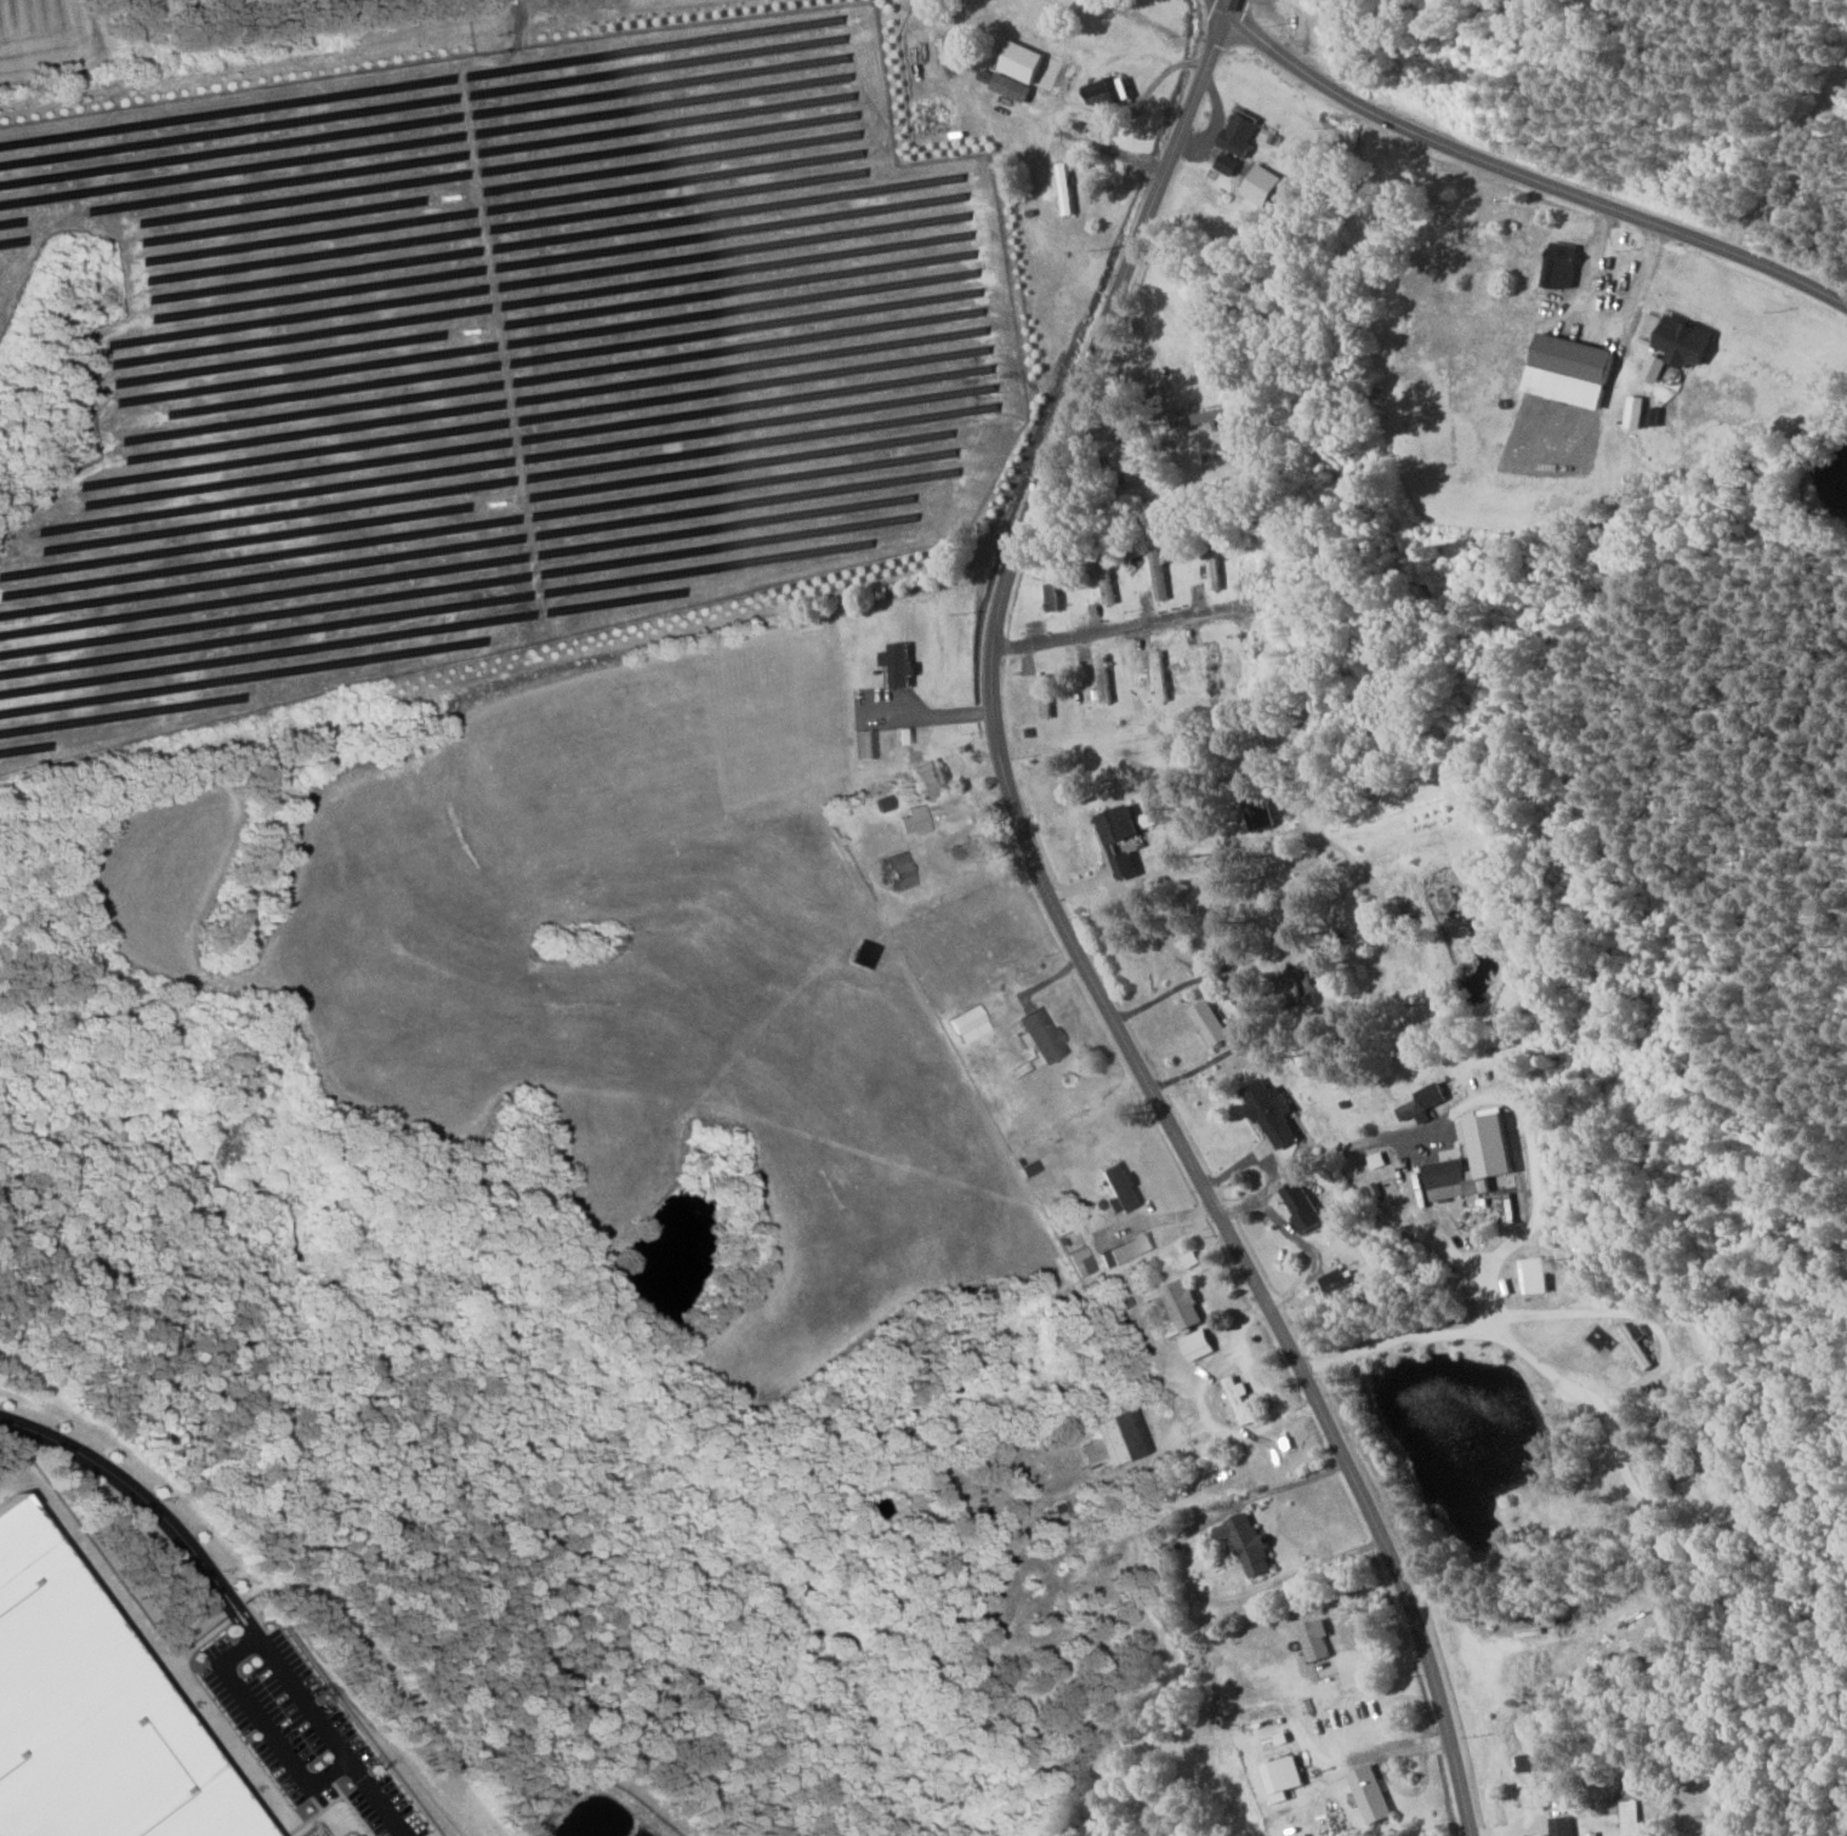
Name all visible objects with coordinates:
building: (1022, 61)
building: (1004, 84)
building: (1106, 90)
building: (1239, 132)
building: (1226, 163)
road: (1521, 172)
building: (1261, 184)
building: (1562, 265)
building: (1684, 341)
road: (1138, 357)
solar farm: (472, 369)
building: (1570, 370)
building: (1636, 411)
building: (1158, 573)
road: (1118, 627)
building: (898, 664)
building: (864, 743)
building: (928, 778)
building: (883, 802)
building: (914, 820)
building: (1119, 839)
building: (900, 870)
road: (1068, 933)
building: (1298, 983)
building: (1210, 1024)
building: (1425, 1101)
building: (1272, 1113)
road: (1243, 1160)
road: (1308, 1165)
building: (1119, 1188)
building: (1301, 1206)
road: (1428, 1216)
road: (1506, 1246)
building: (1125, 1249)
road: (1311, 1251)
building: (1081, 1261)
building: (1183, 1306)
building: (1170, 1328)
building: (1197, 1345)
road: (1661, 1364)
building: (1115, 1440)
road: (1619, 1454)
building: (1248, 1544)
road: (1183, 1574)
road: (226, 1596)
building: (1315, 1638)
building: (87, 1716)
building: (1281, 1777)
building: (1370, 1792)
building: (1562, 1825)
building: (349, 1834)

